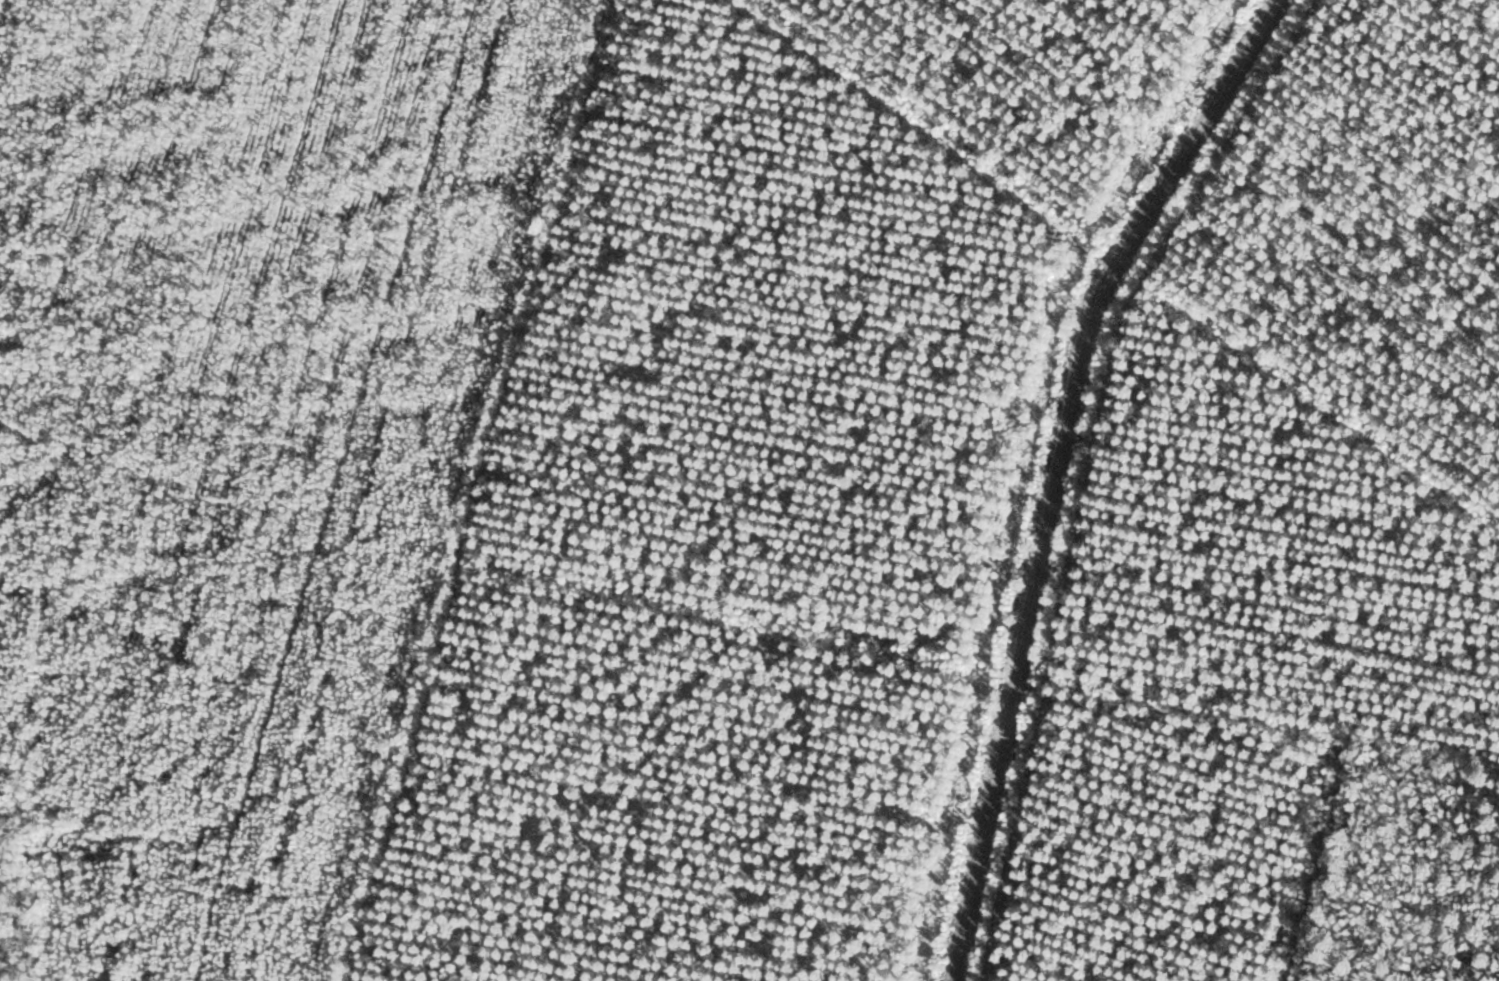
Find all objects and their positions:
road: (1059, 468)

